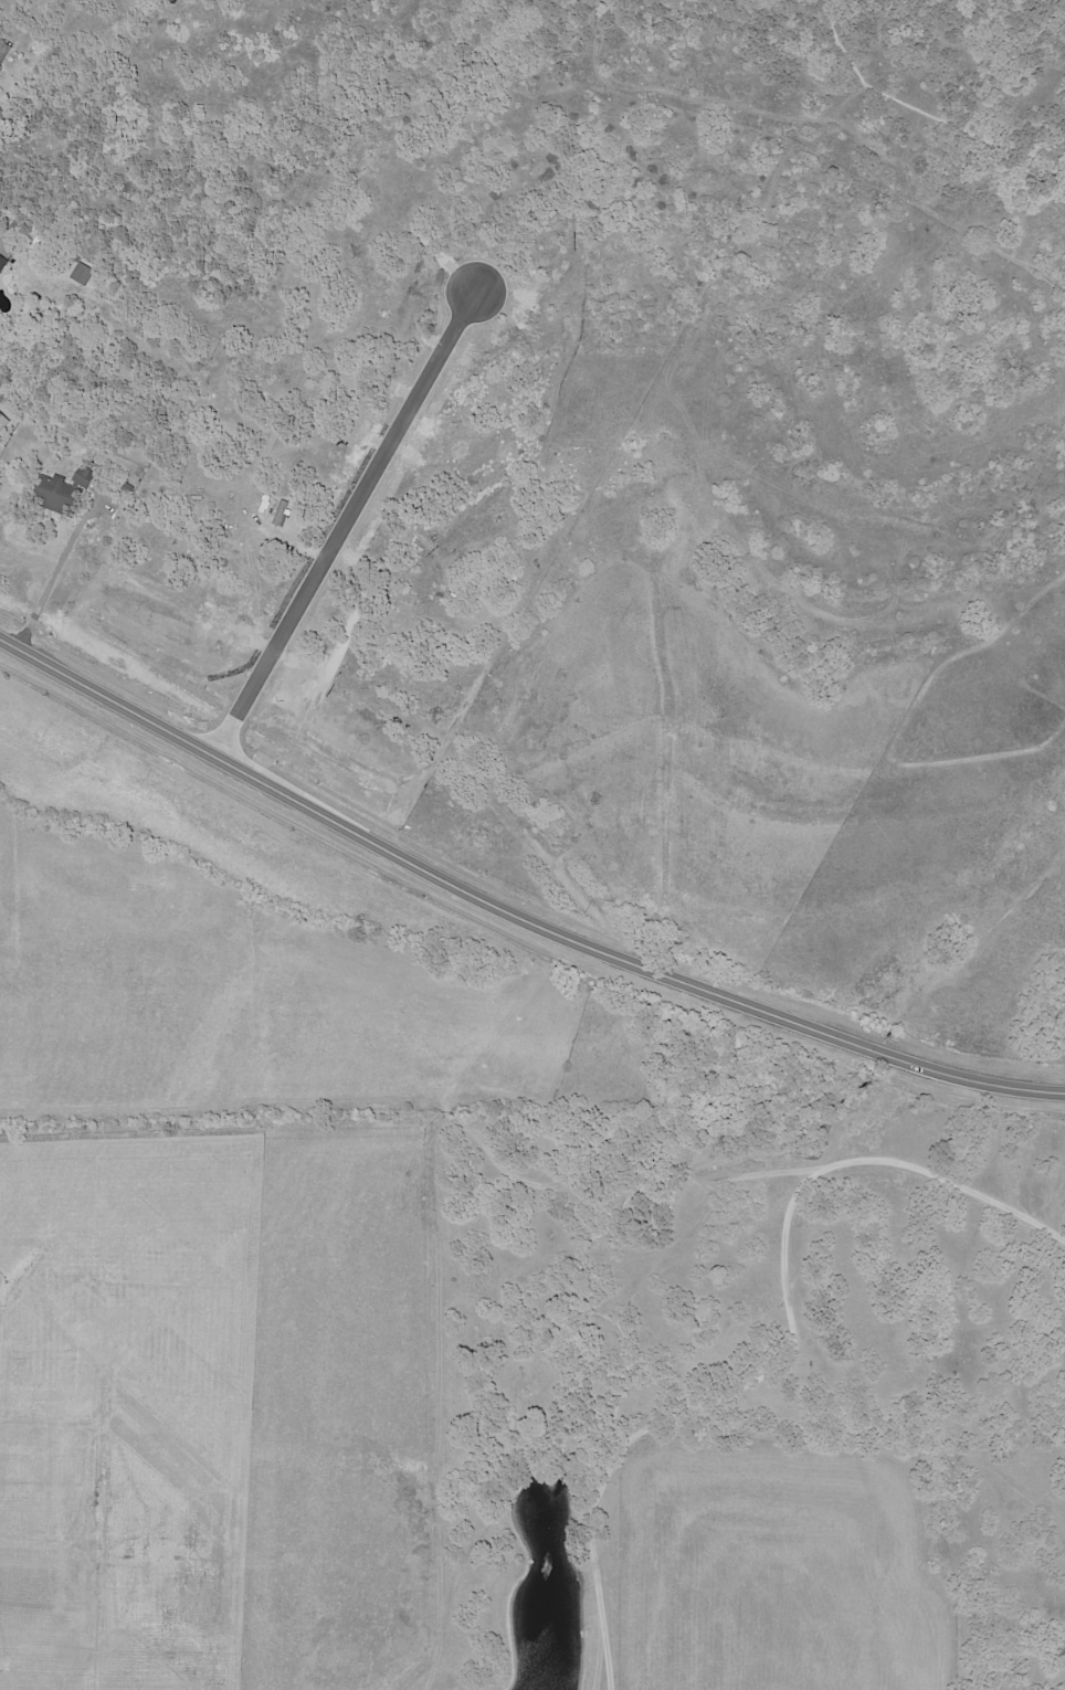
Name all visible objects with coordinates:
building: (0, 66)
park: (790, 107)
building: (41, 109)
road: (918, 110)
road: (820, 117)
building: (2, 263)
building: (82, 273)
building: (4, 410)
building: (130, 487)
building: (61, 493)
road: (342, 525)
building: (351, 540)
road: (51, 578)
road: (314, 696)
road: (898, 723)
park: (950, 845)
road: (514, 906)

